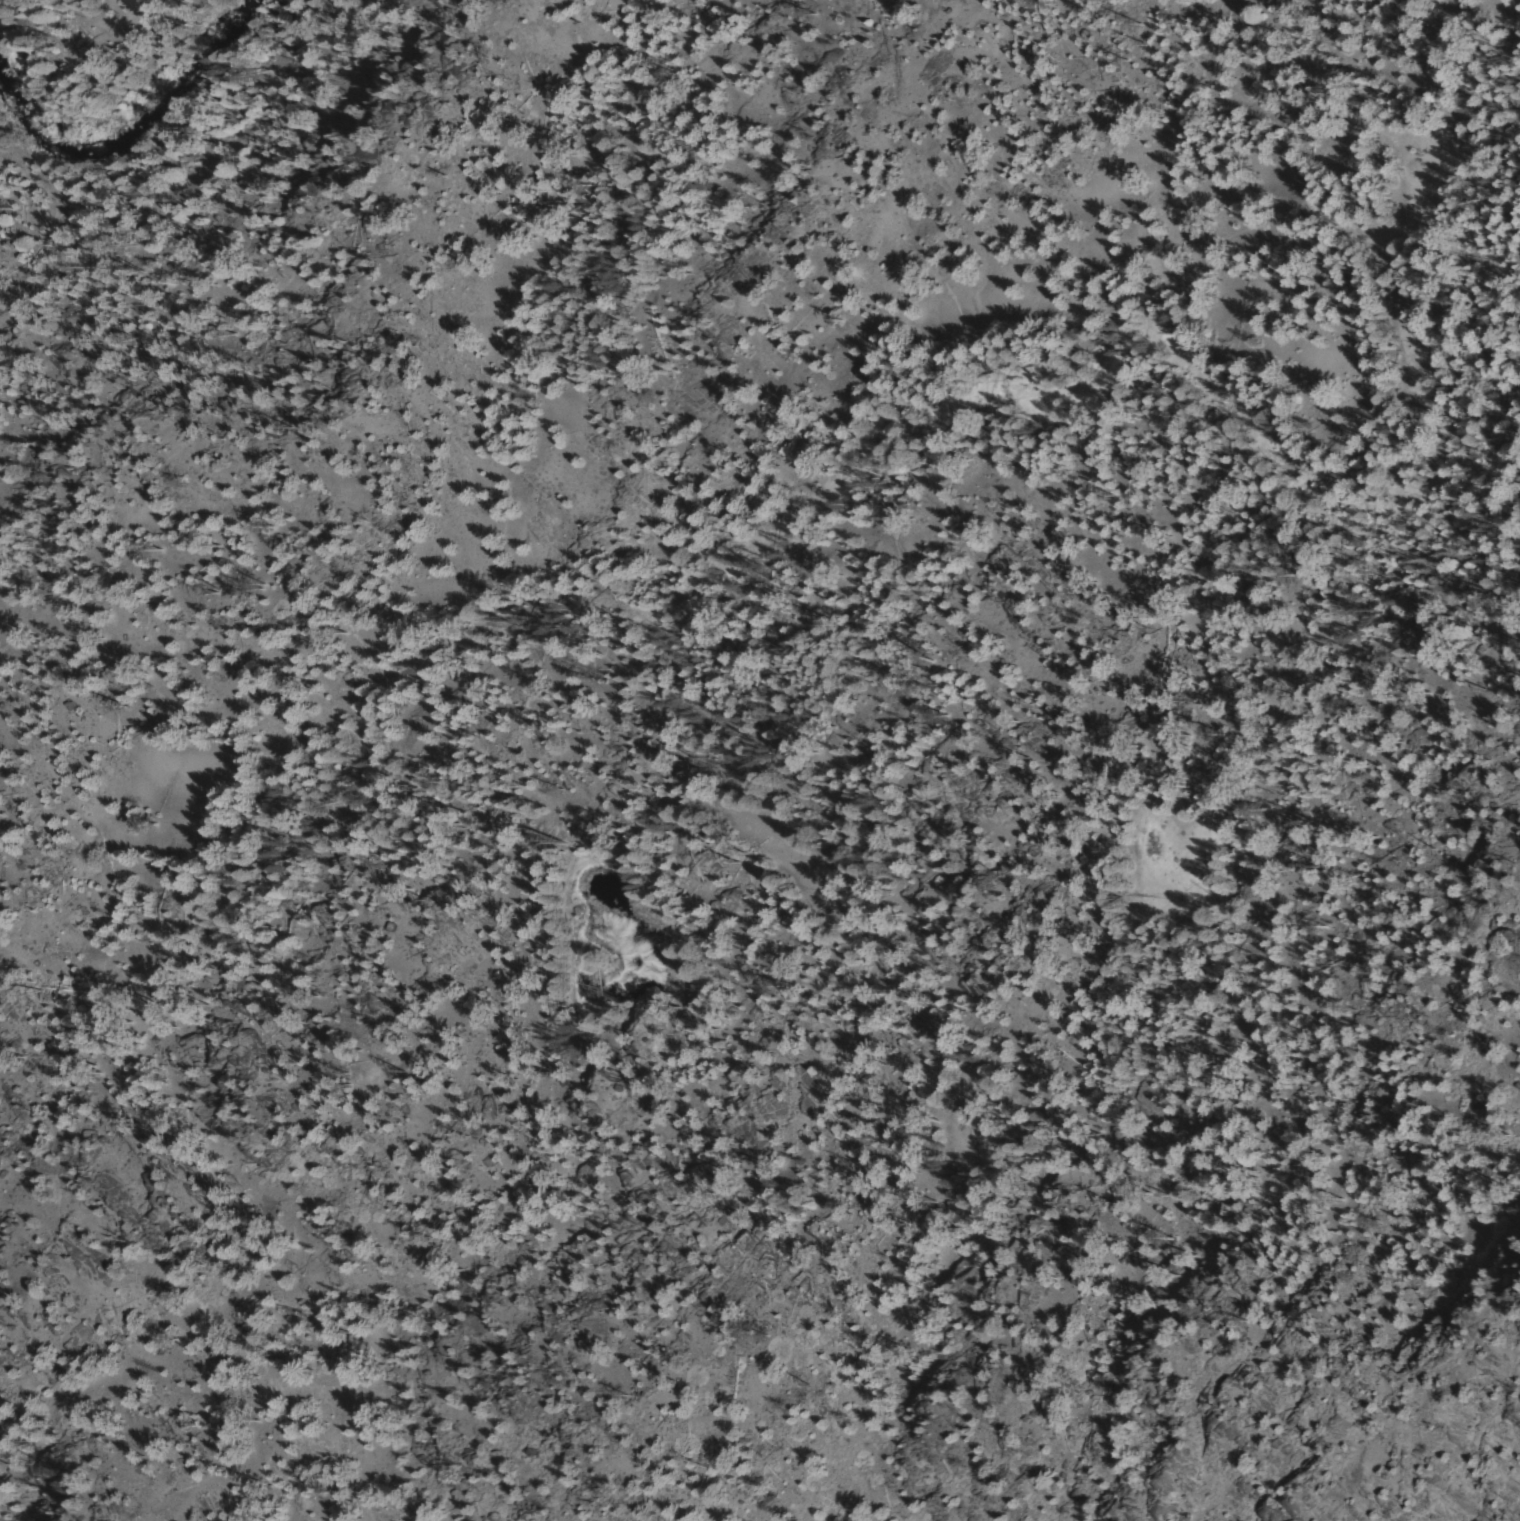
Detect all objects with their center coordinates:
road: (787, 458)

